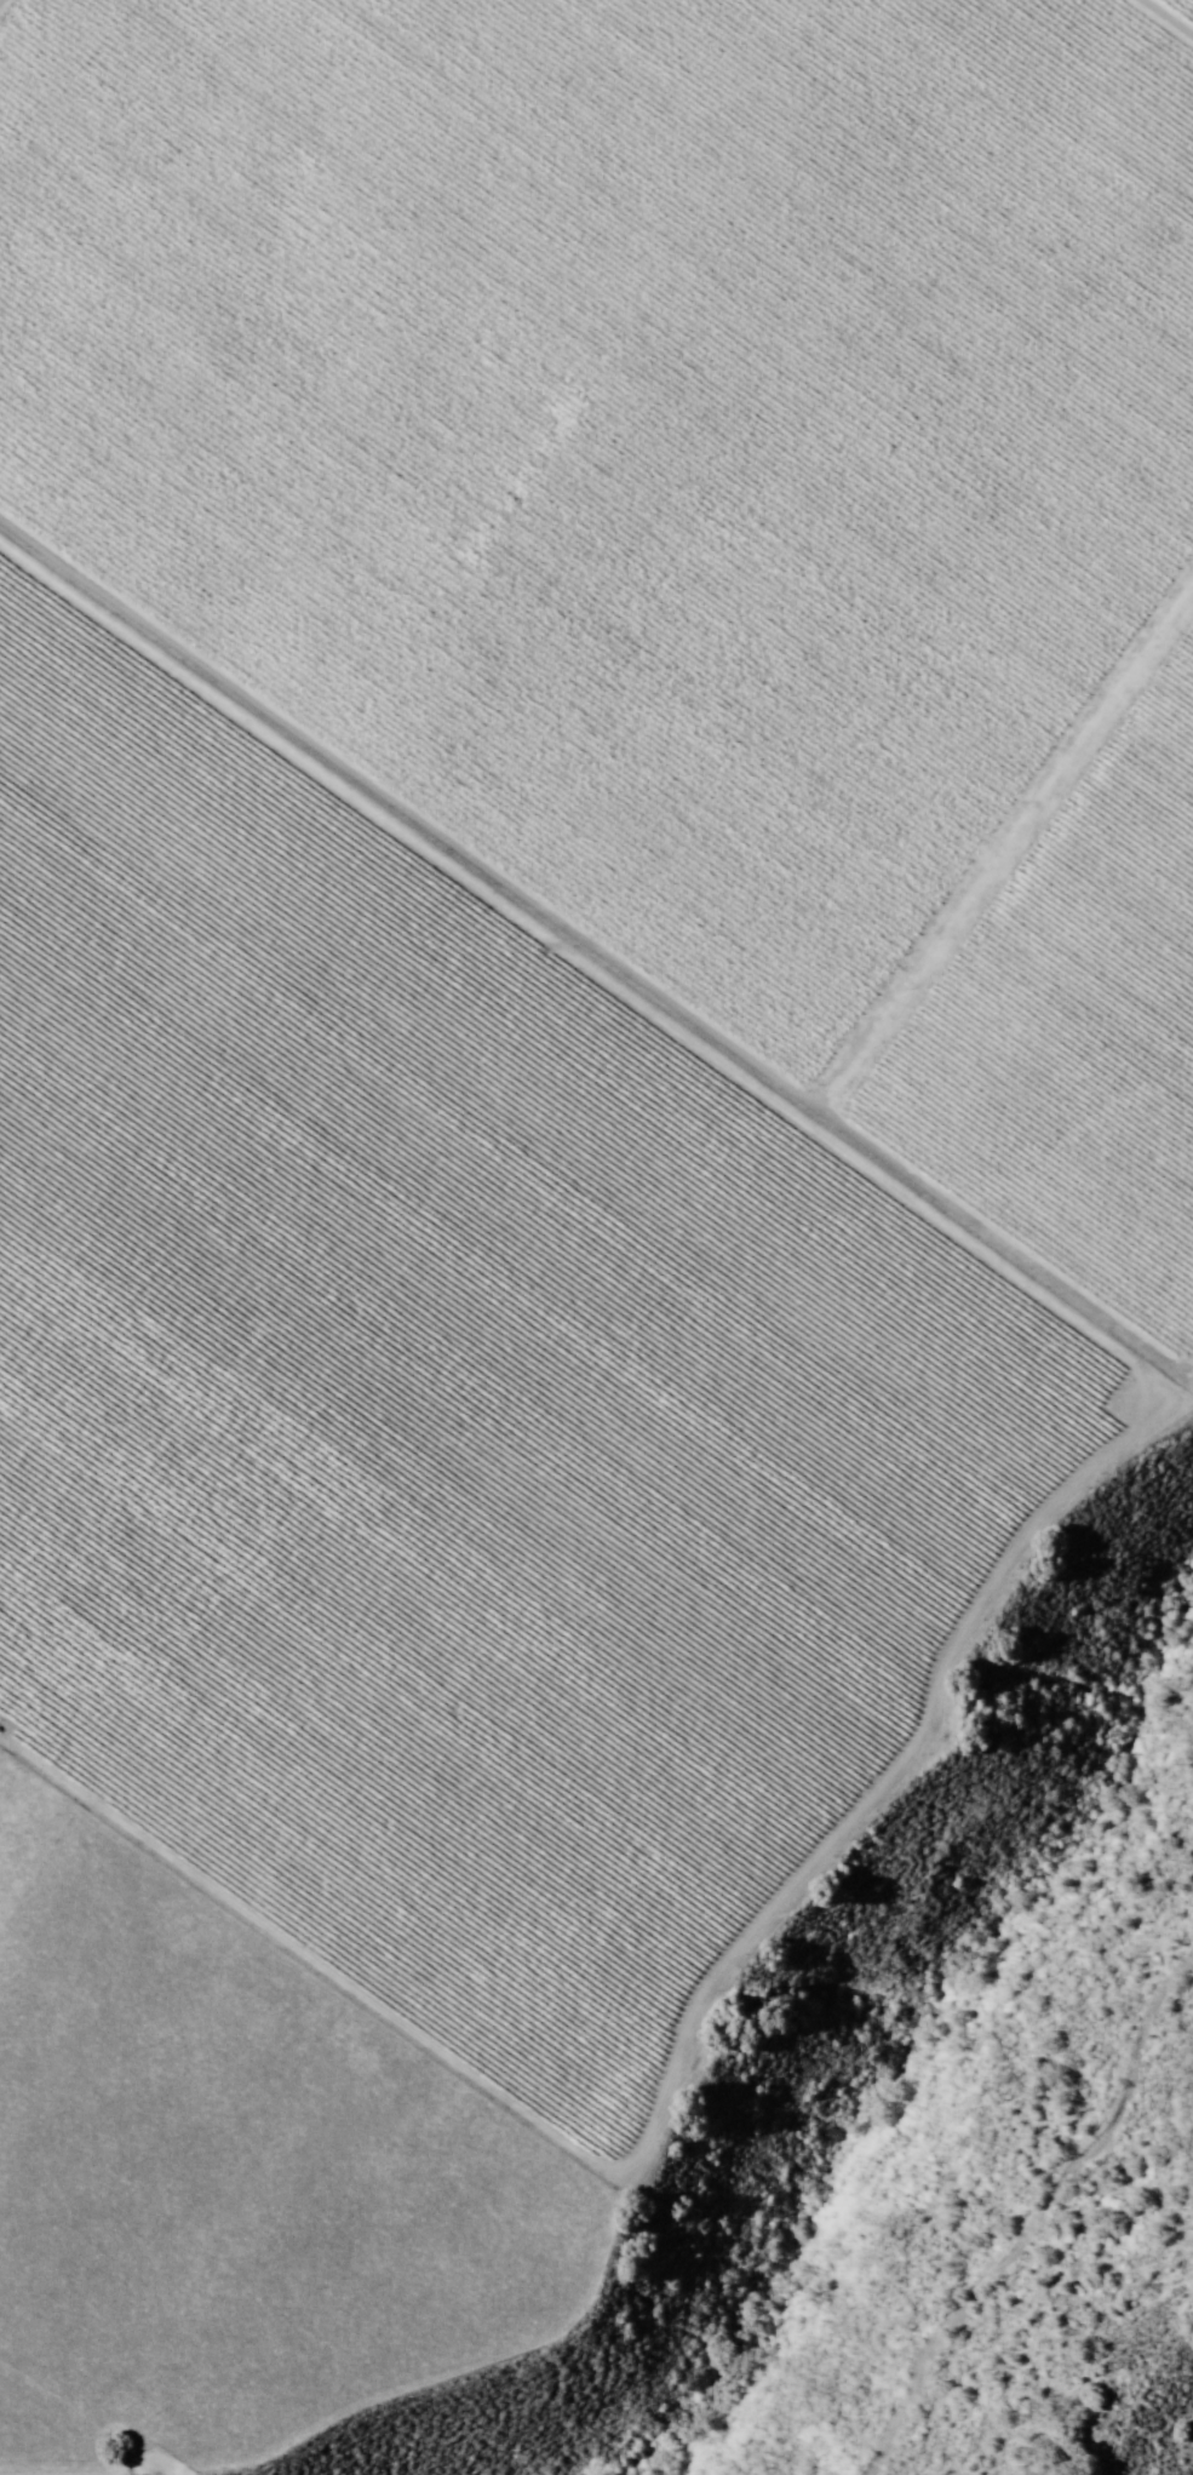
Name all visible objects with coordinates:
road: (1103, 2348)
road: (6, 2474)

